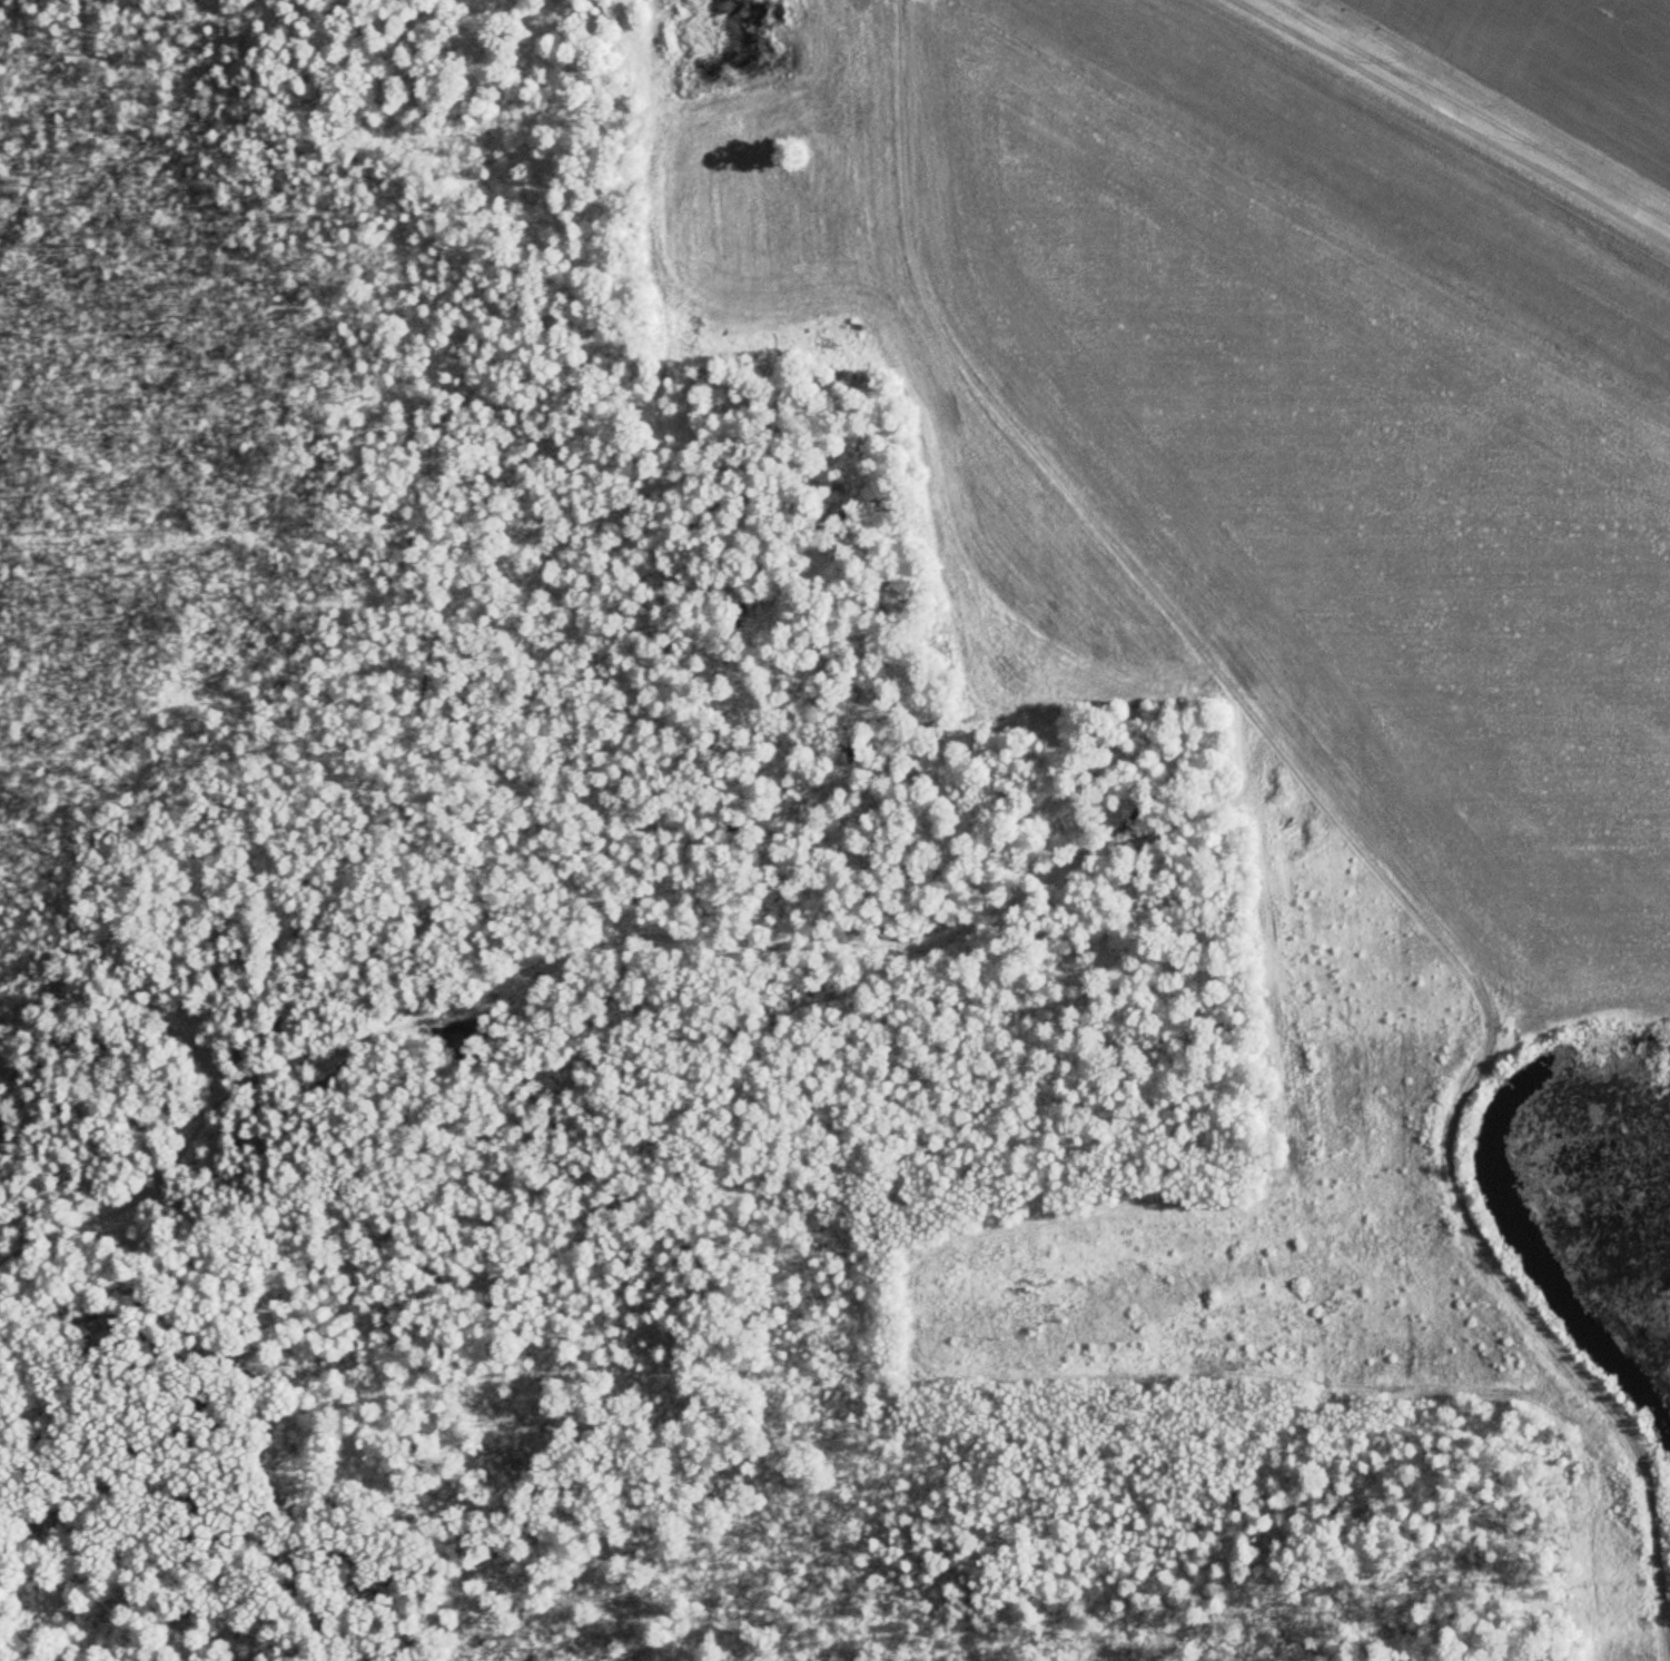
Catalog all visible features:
airport runway: (1379, 167)
airport: (1285, 650)
road: (1332, 812)
road: (631, 930)
road: (1525, 971)

